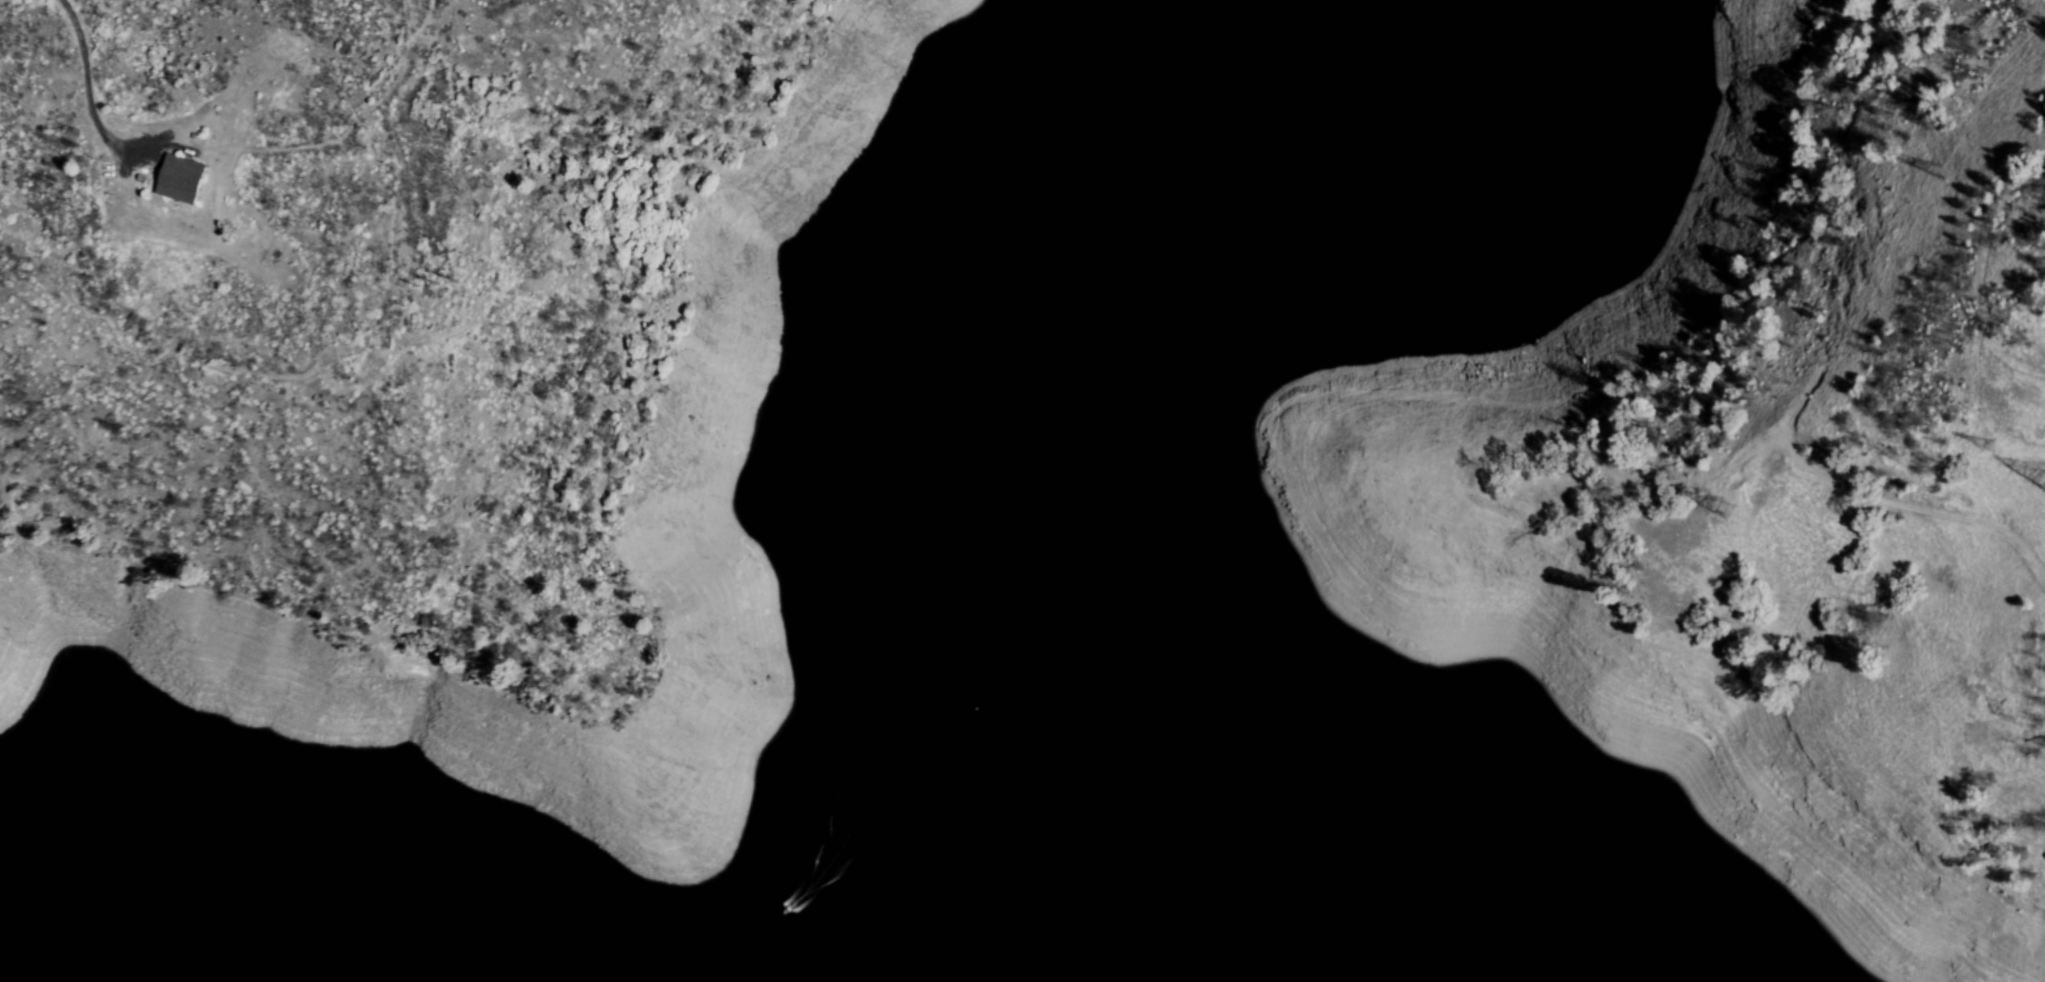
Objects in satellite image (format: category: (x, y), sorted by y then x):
road: (1645, 131)
power tower: (1932, 174)
building: (177, 180)
power tower: (436, 282)
power tower: (1990, 449)
power tower: (1706, 518)
river: (857, 916)

